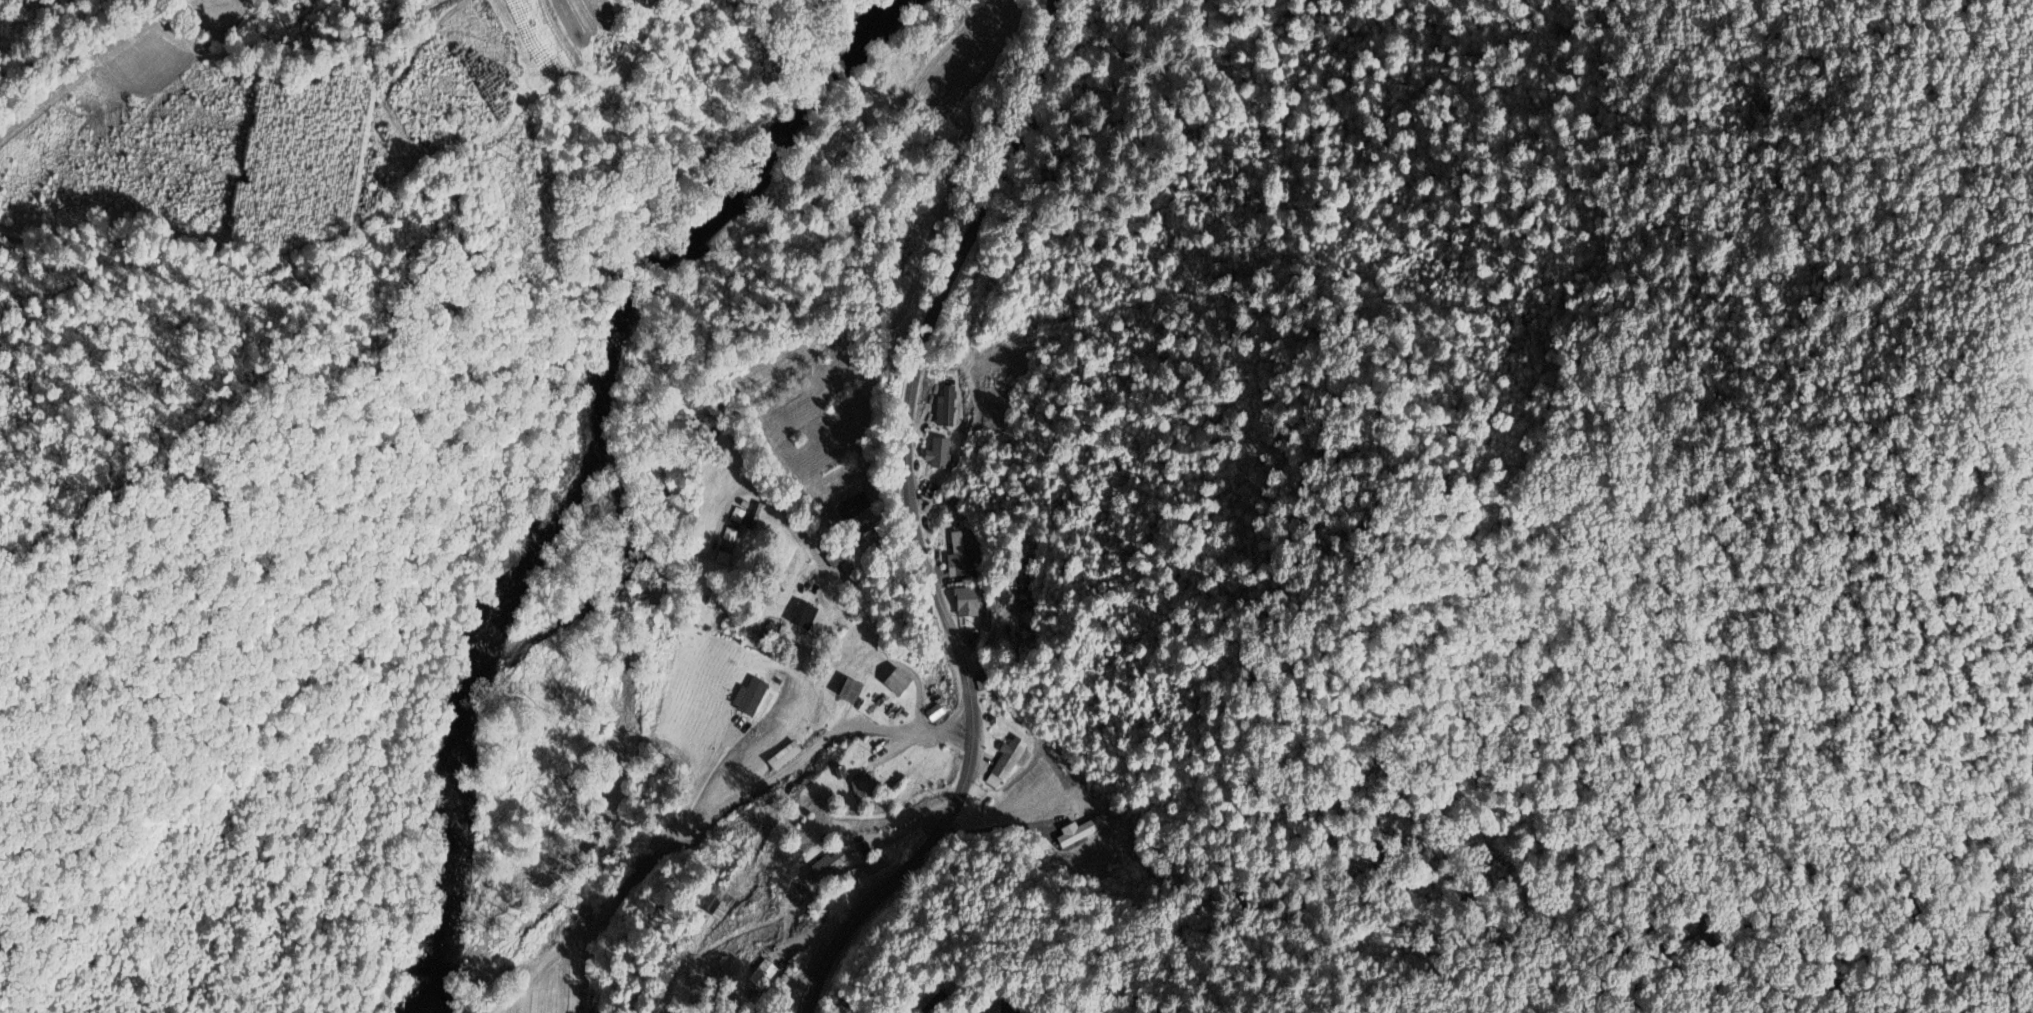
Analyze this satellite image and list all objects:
power tower: (515, 160)
building: (951, 406)
building: (941, 454)
river: (596, 471)
building: (854, 507)
road: (907, 522)
building: (963, 557)
building: (840, 561)
building: (971, 602)
building: (804, 616)
building: (903, 682)
building: (854, 691)
building: (785, 757)
building: (1013, 759)
building: (864, 786)

